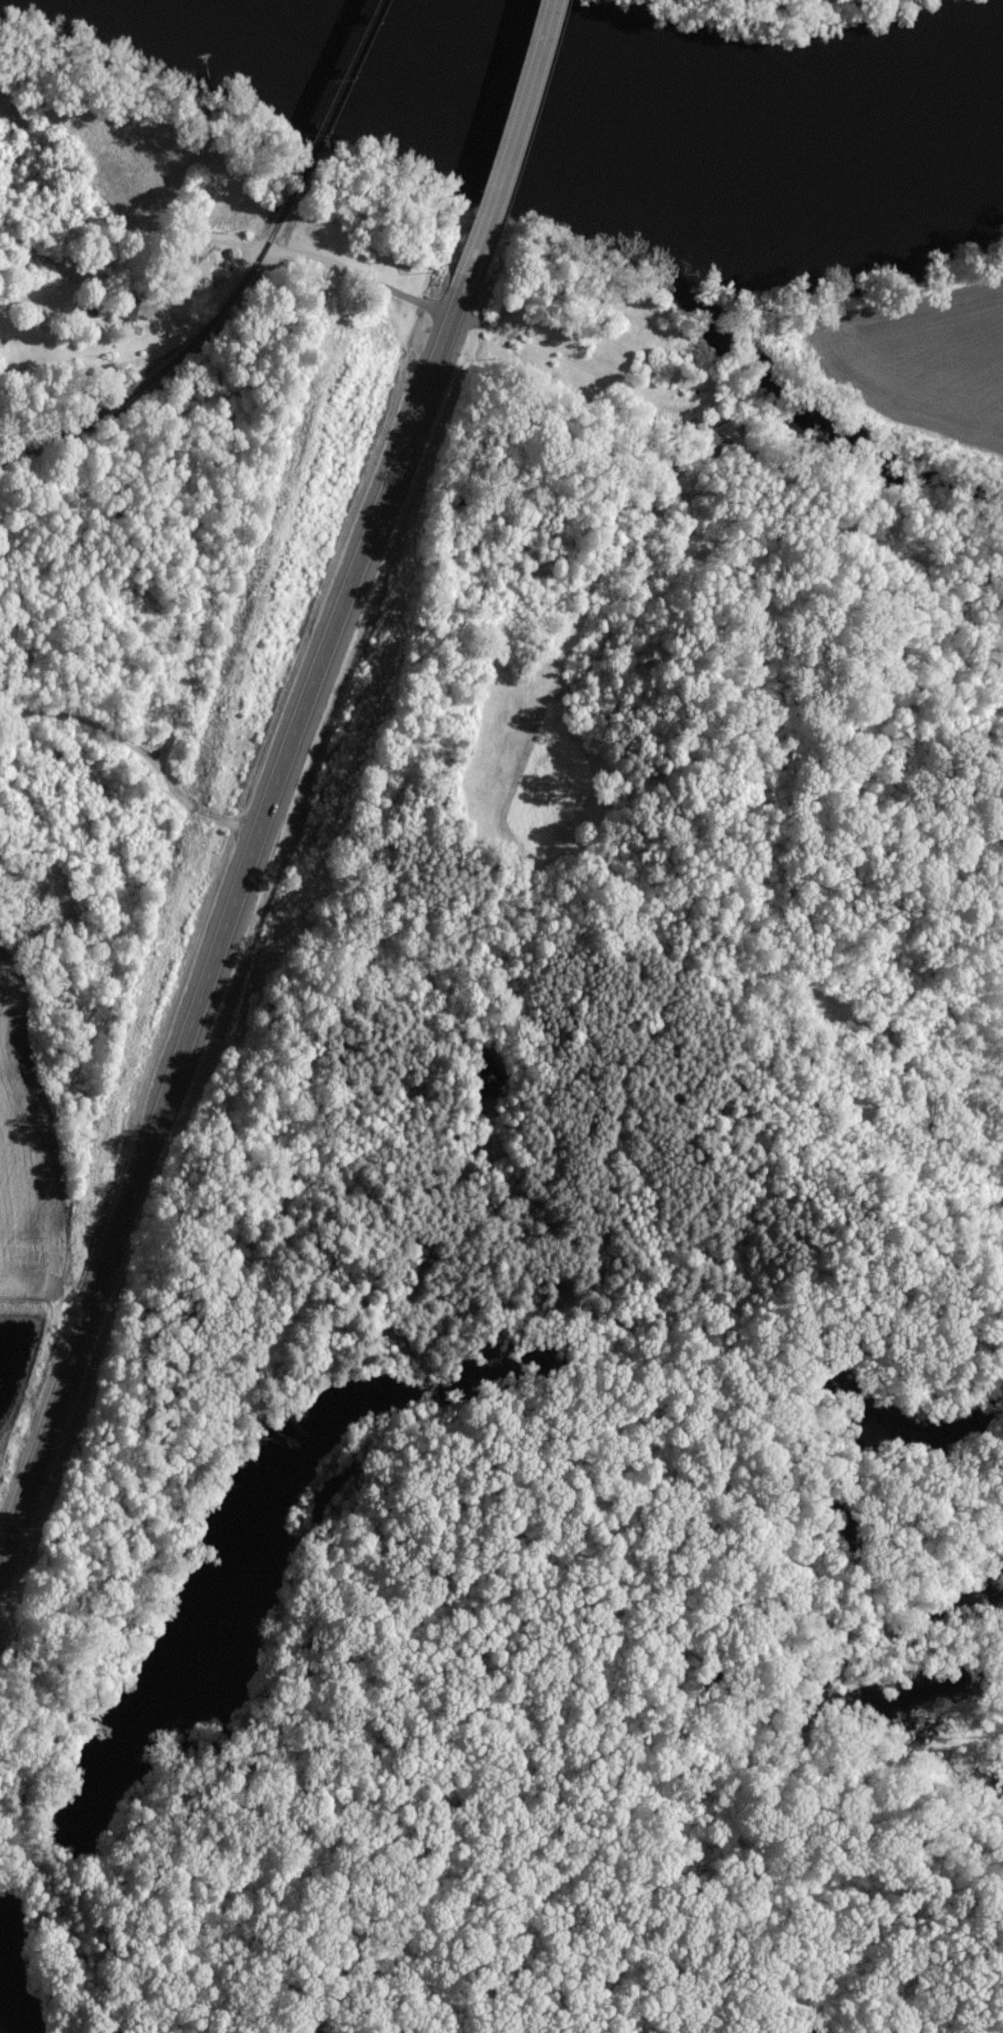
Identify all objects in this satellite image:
railway: (345, 87)
river: (634, 125)
road: (505, 149)
building: (194, 268)
road: (225, 291)
building: (123, 309)
railway: (180, 348)
road: (560, 365)
building: (694, 432)
building: (714, 444)
road: (224, 936)

